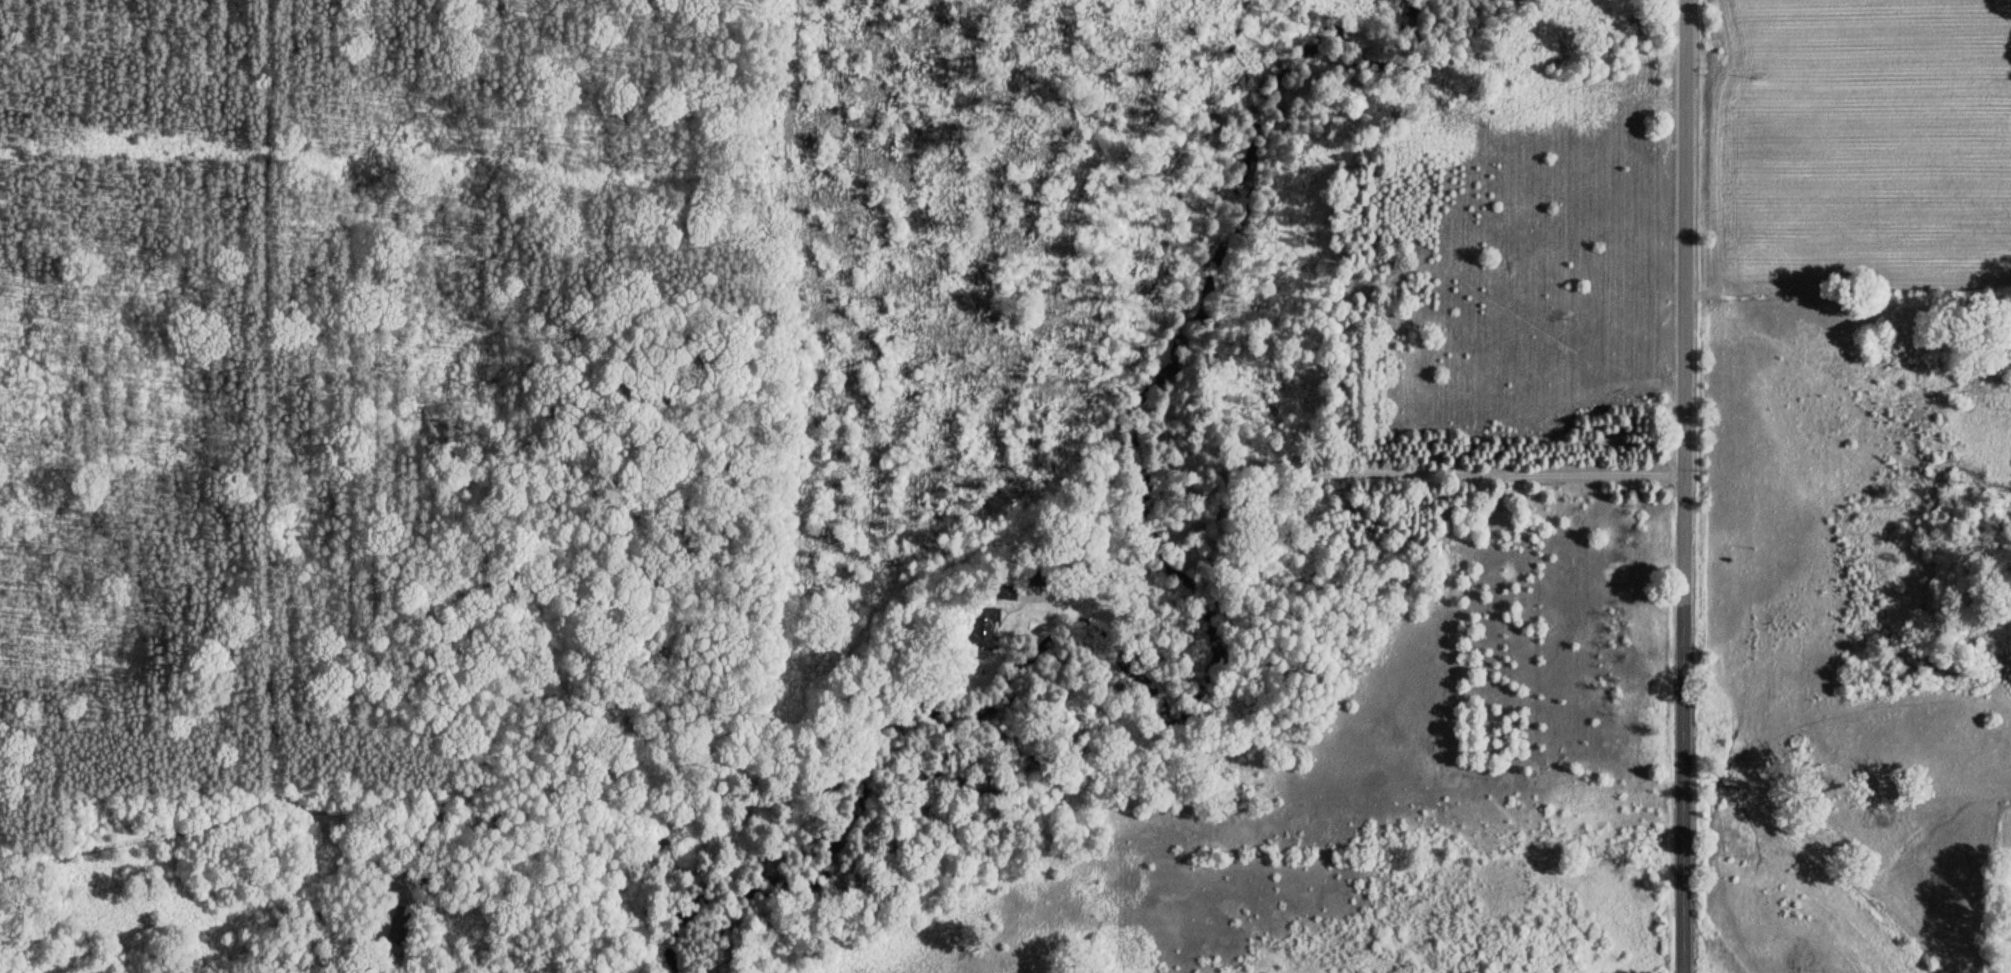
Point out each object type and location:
road: (1675, 486)

